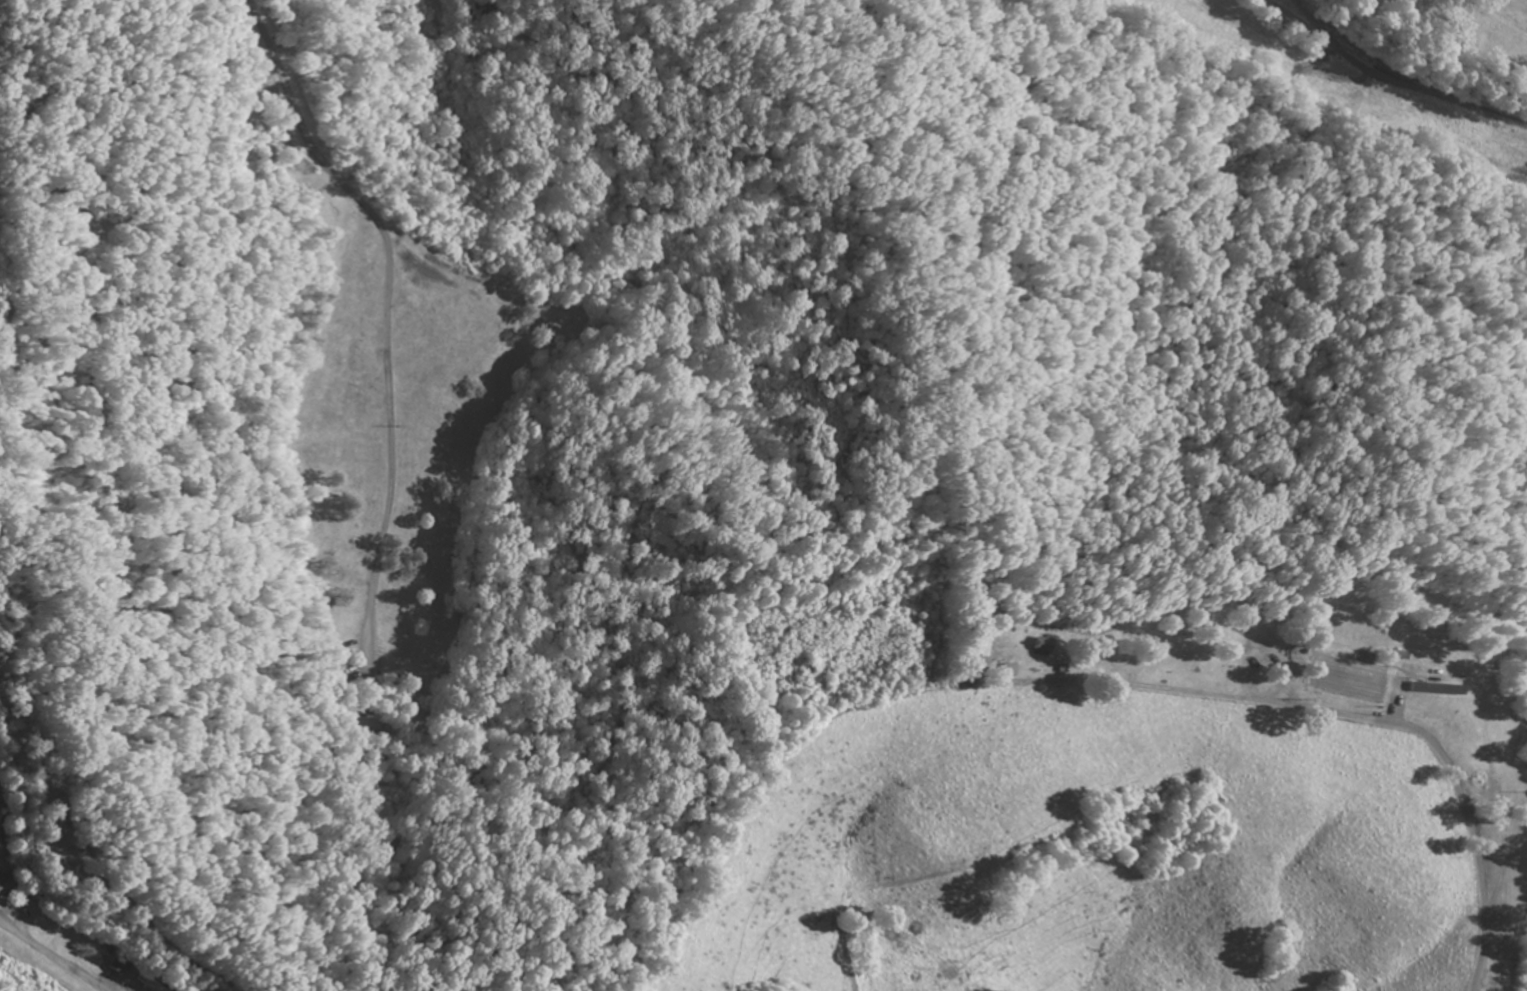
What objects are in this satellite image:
road: (1301, 14)
road: (1384, 80)
road: (753, 625)
building: (1036, 647)
road: (1085, 682)
building: (349, 727)
building: (1471, 739)
building: (7, 886)
building: (102, 949)

